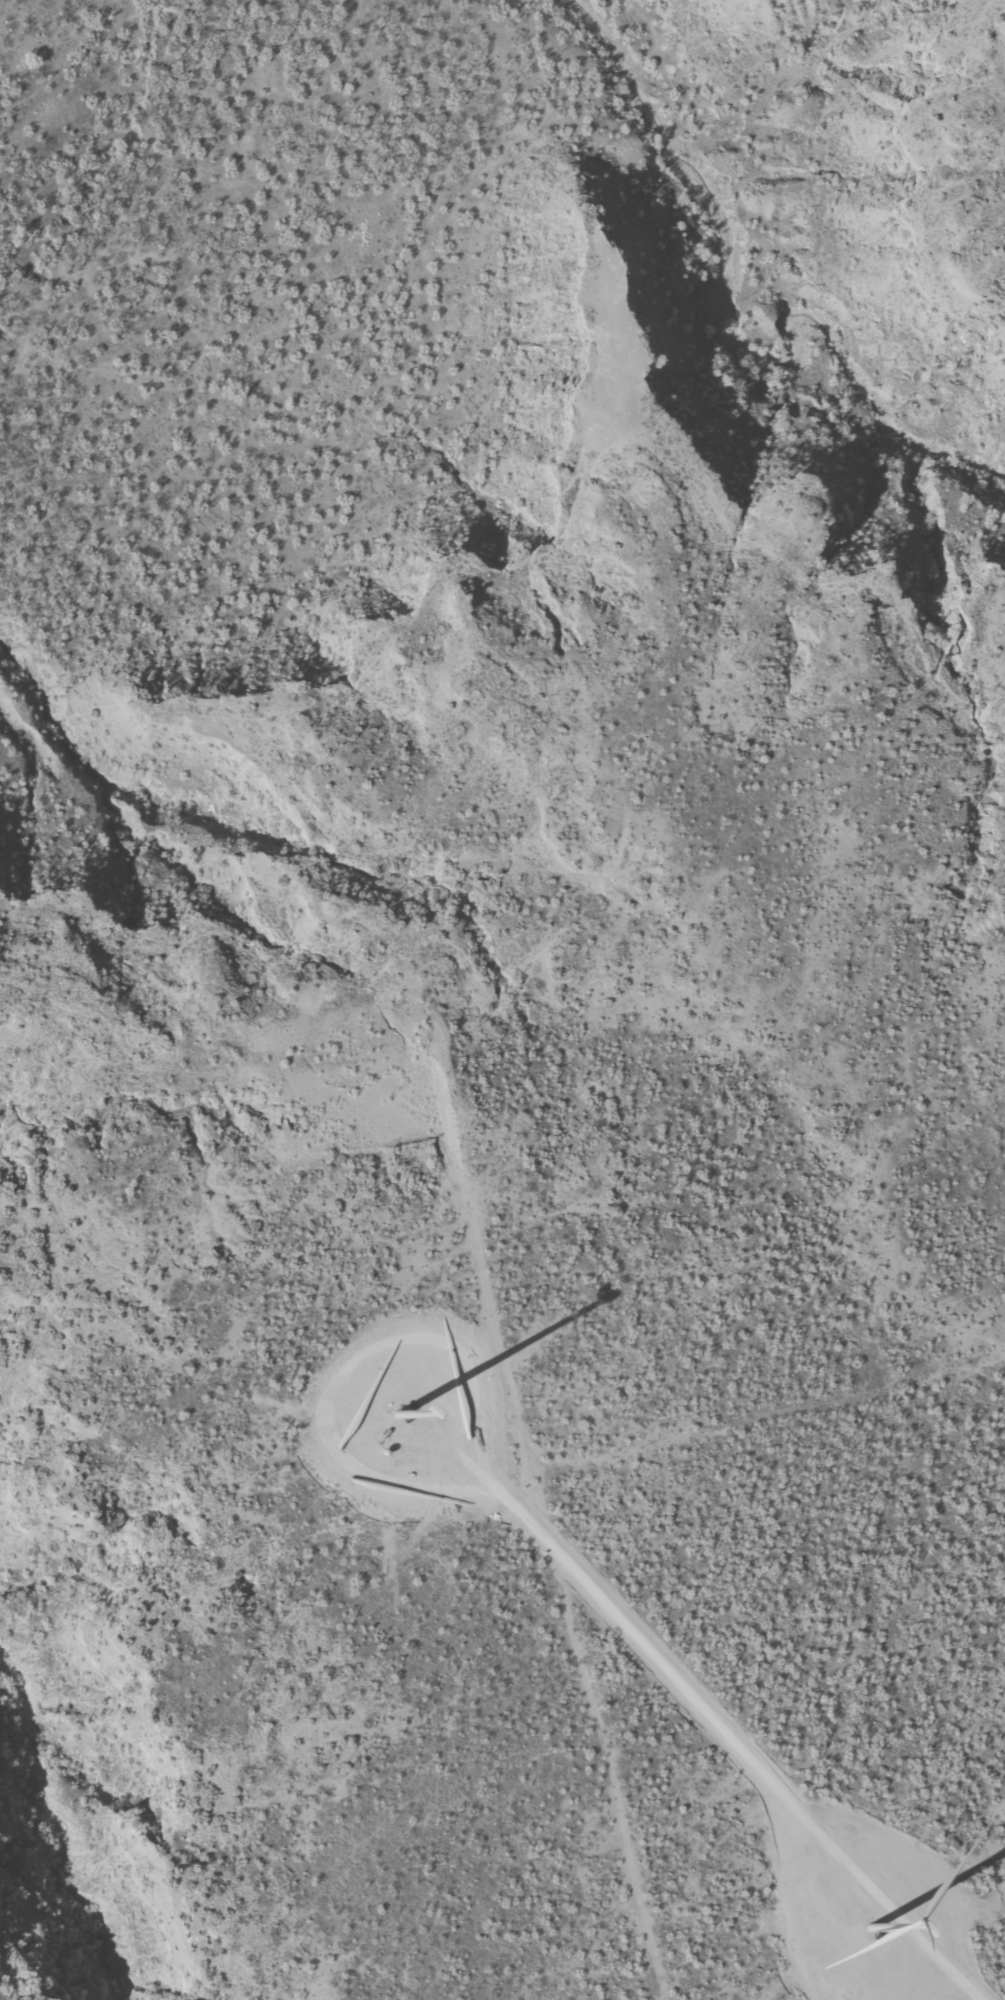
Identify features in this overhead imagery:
wind turbine: (391, 1415)
wind turbine: (867, 1920)

